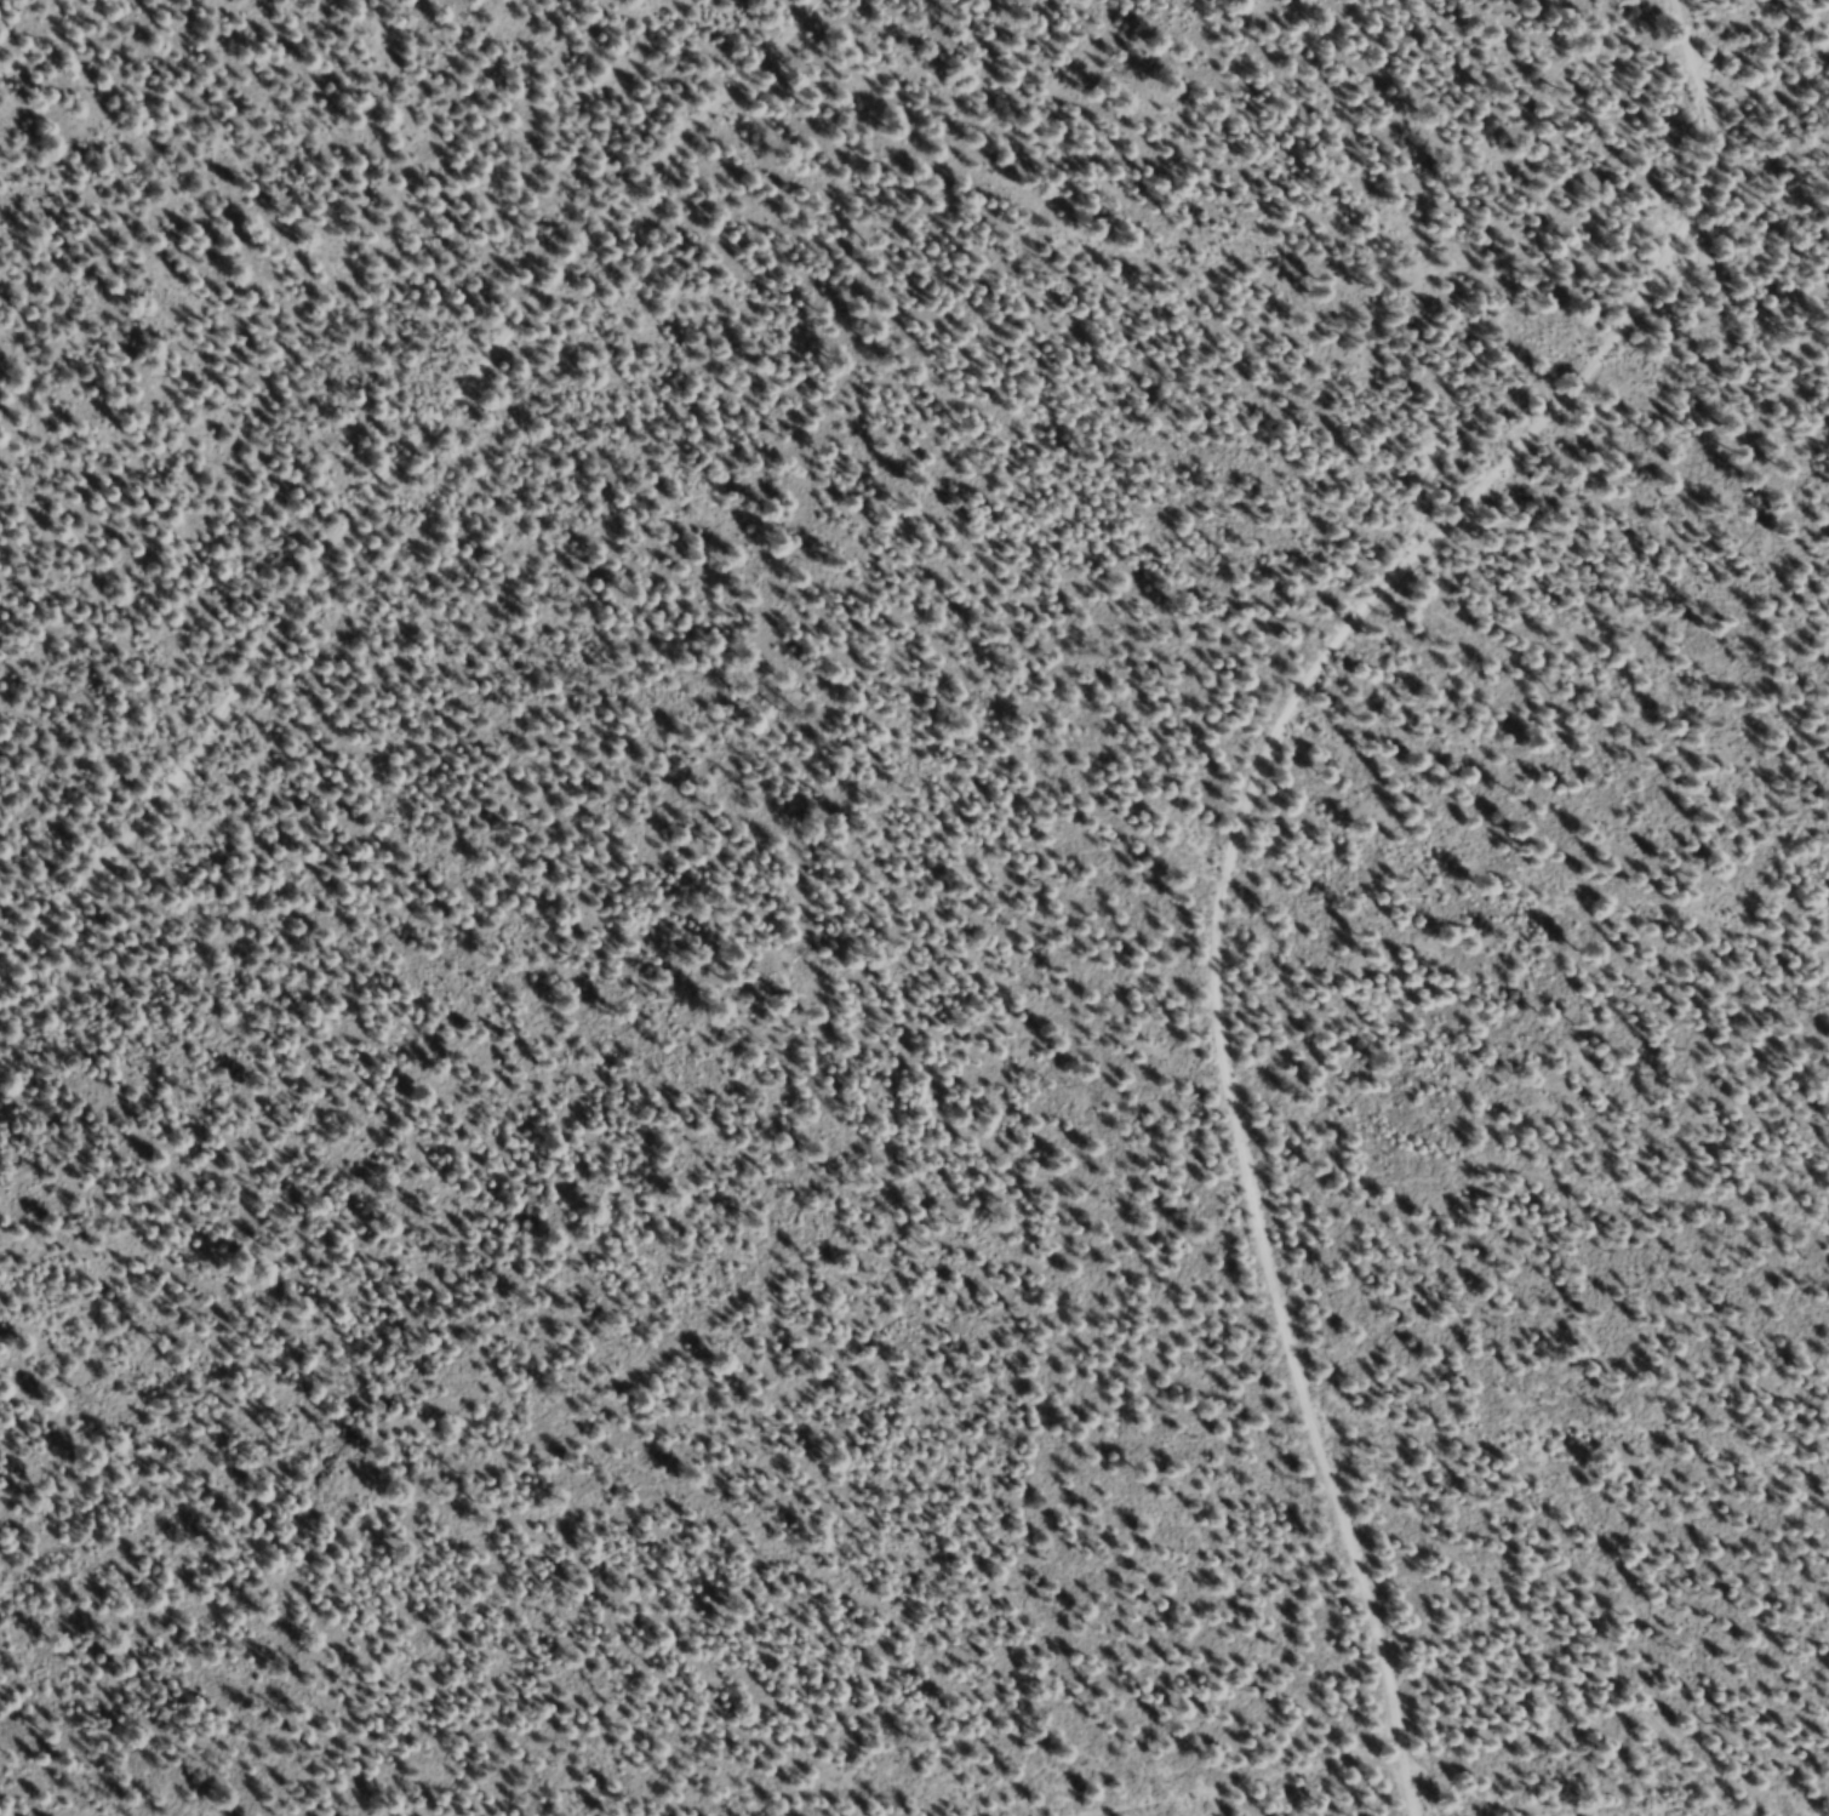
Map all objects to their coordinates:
road: (67, 47)
road: (387, 484)
road: (1231, 834)
road: (1536, 864)
road: (1527, 1154)
road: (1573, 1454)
road: (1405, 1751)

